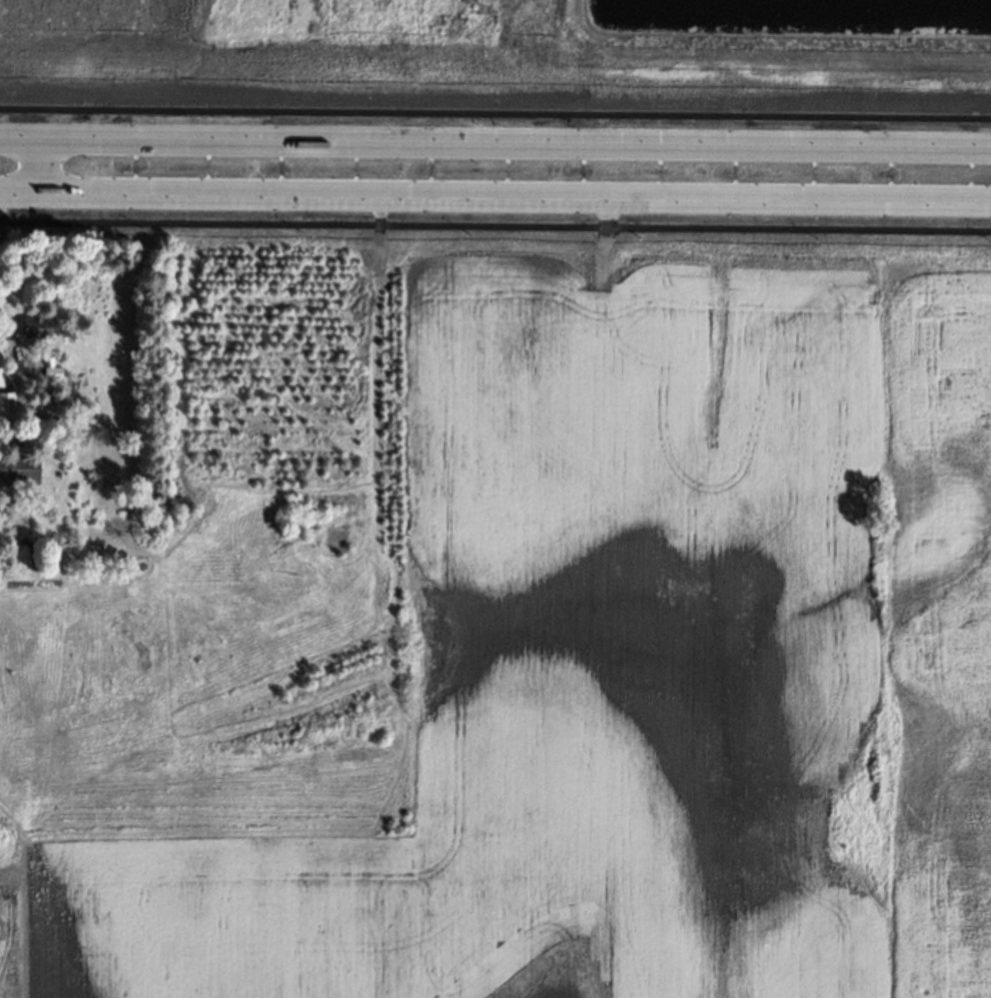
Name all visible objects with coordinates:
road: (495, 111)
road: (495, 143)
road: (37, 166)
road: (495, 196)
road: (495, 225)
building: (34, 324)
road: (7, 346)
building: (47, 366)
building: (1, 368)
building: (5, 401)
building: (57, 423)
building: (18, 465)
building: (29, 498)

